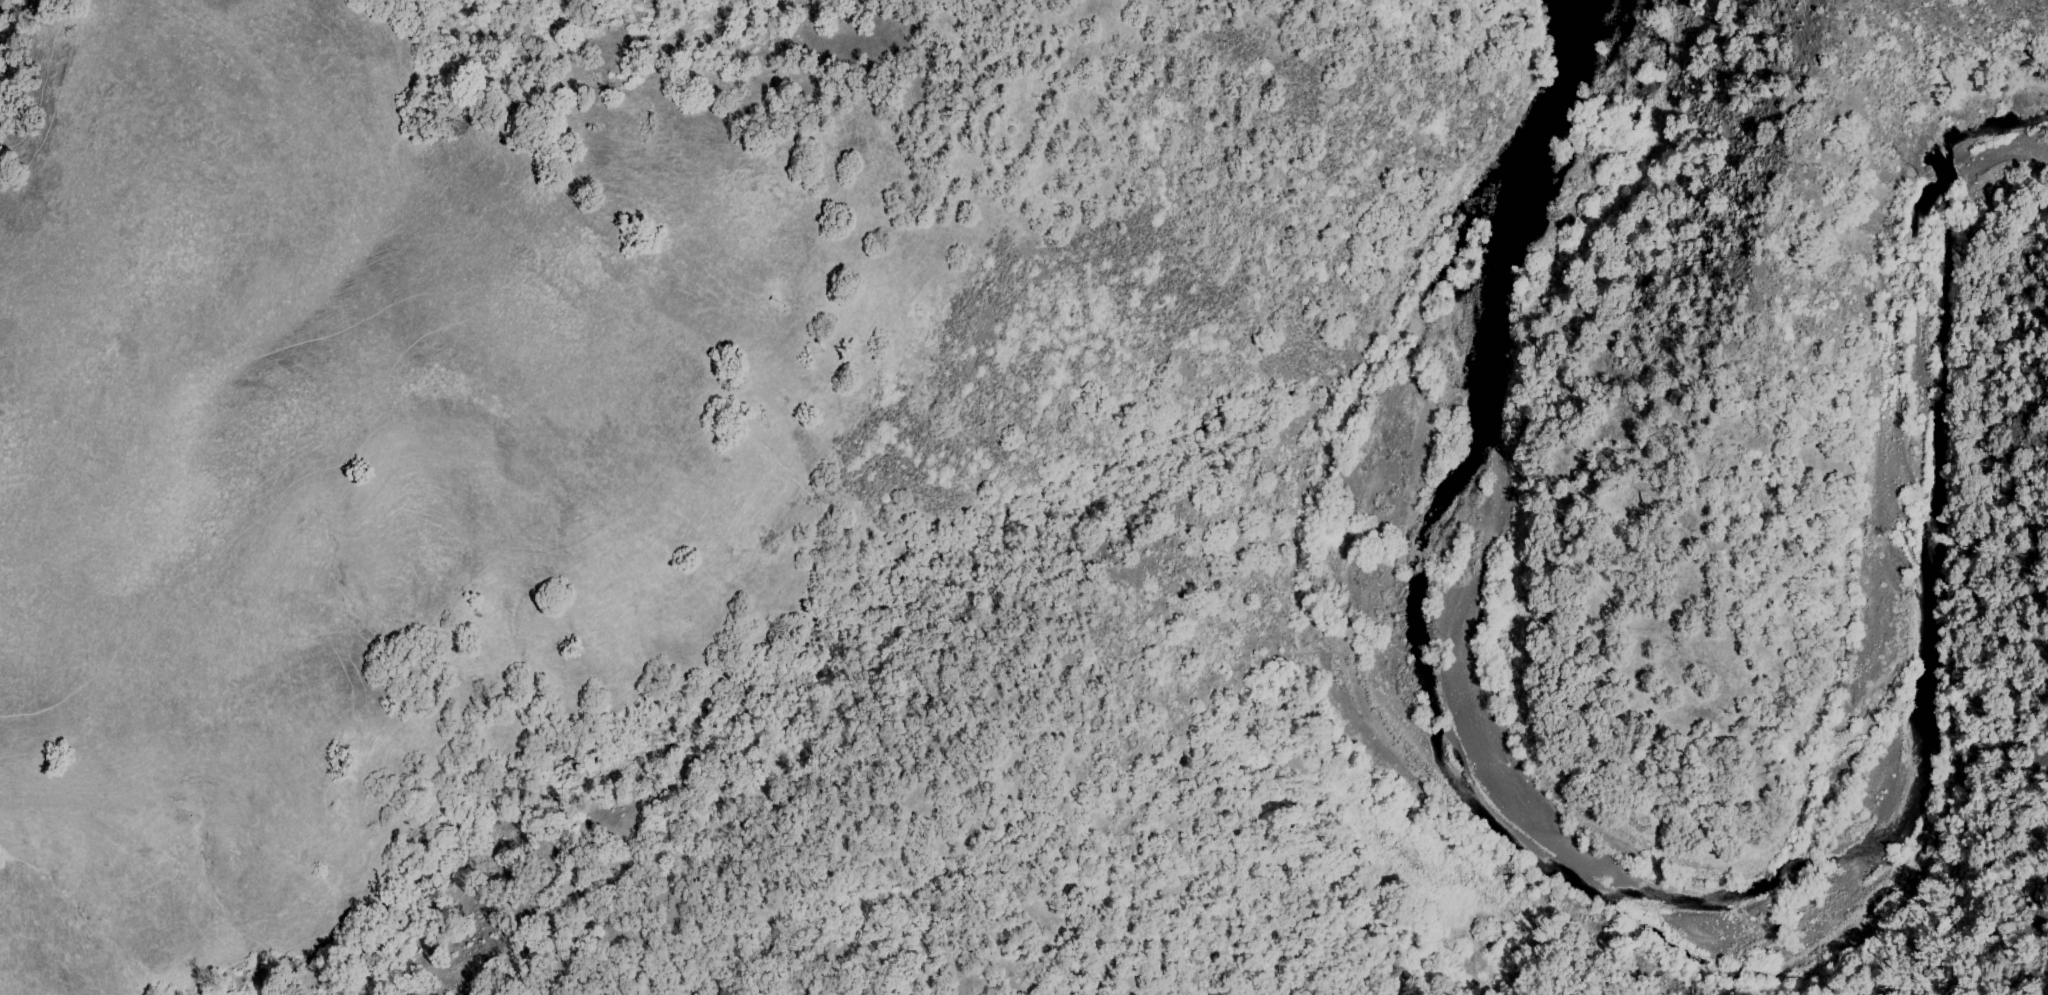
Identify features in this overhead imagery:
river: (1884, 553)

